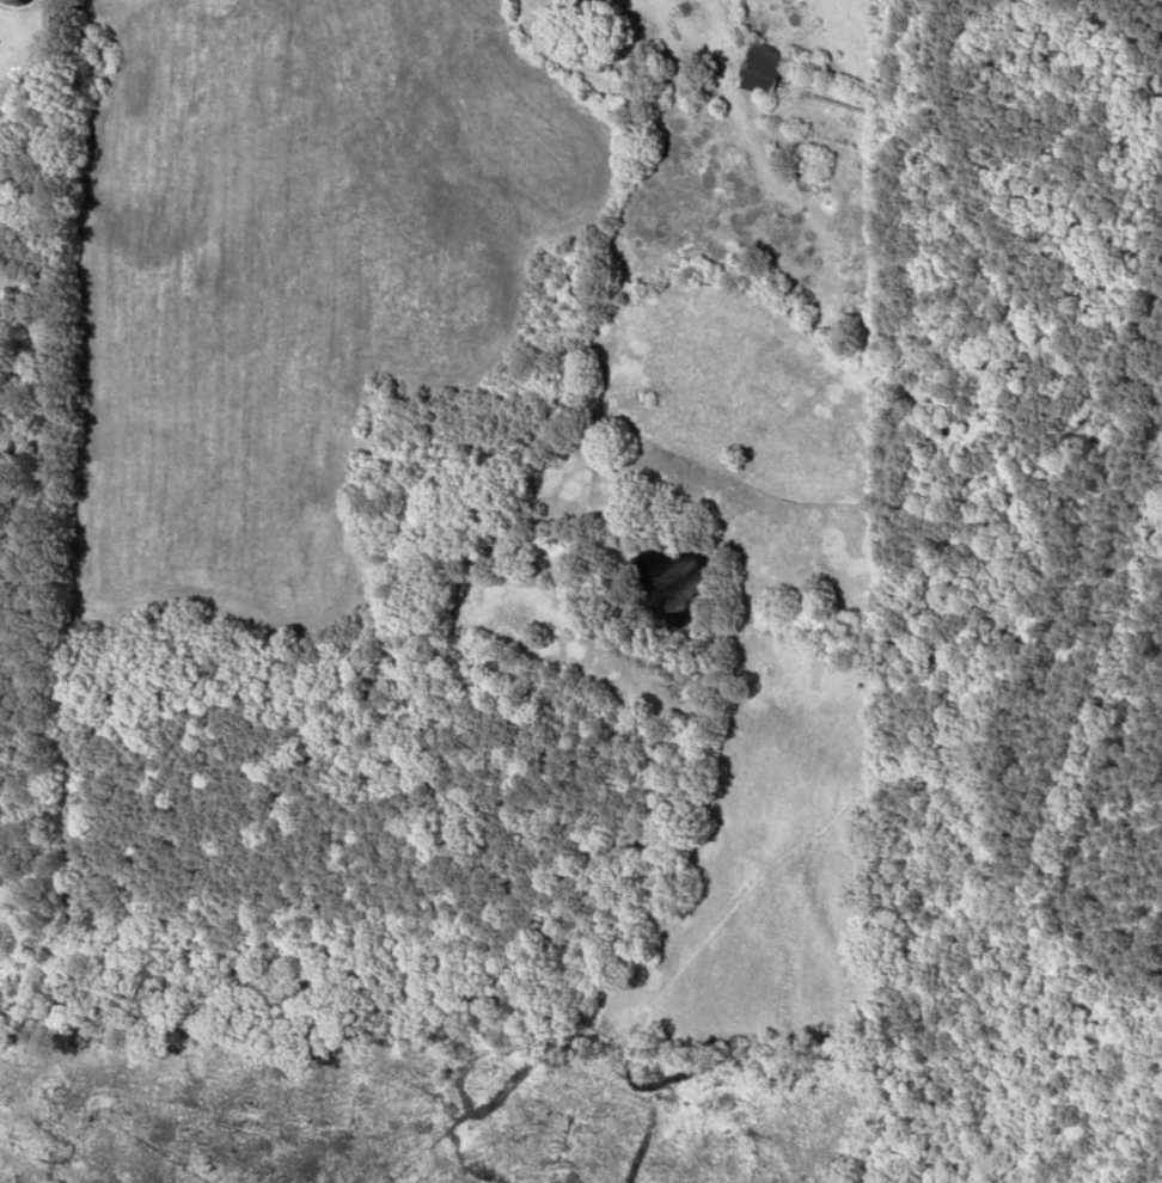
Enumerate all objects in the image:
building: (762, 71)

